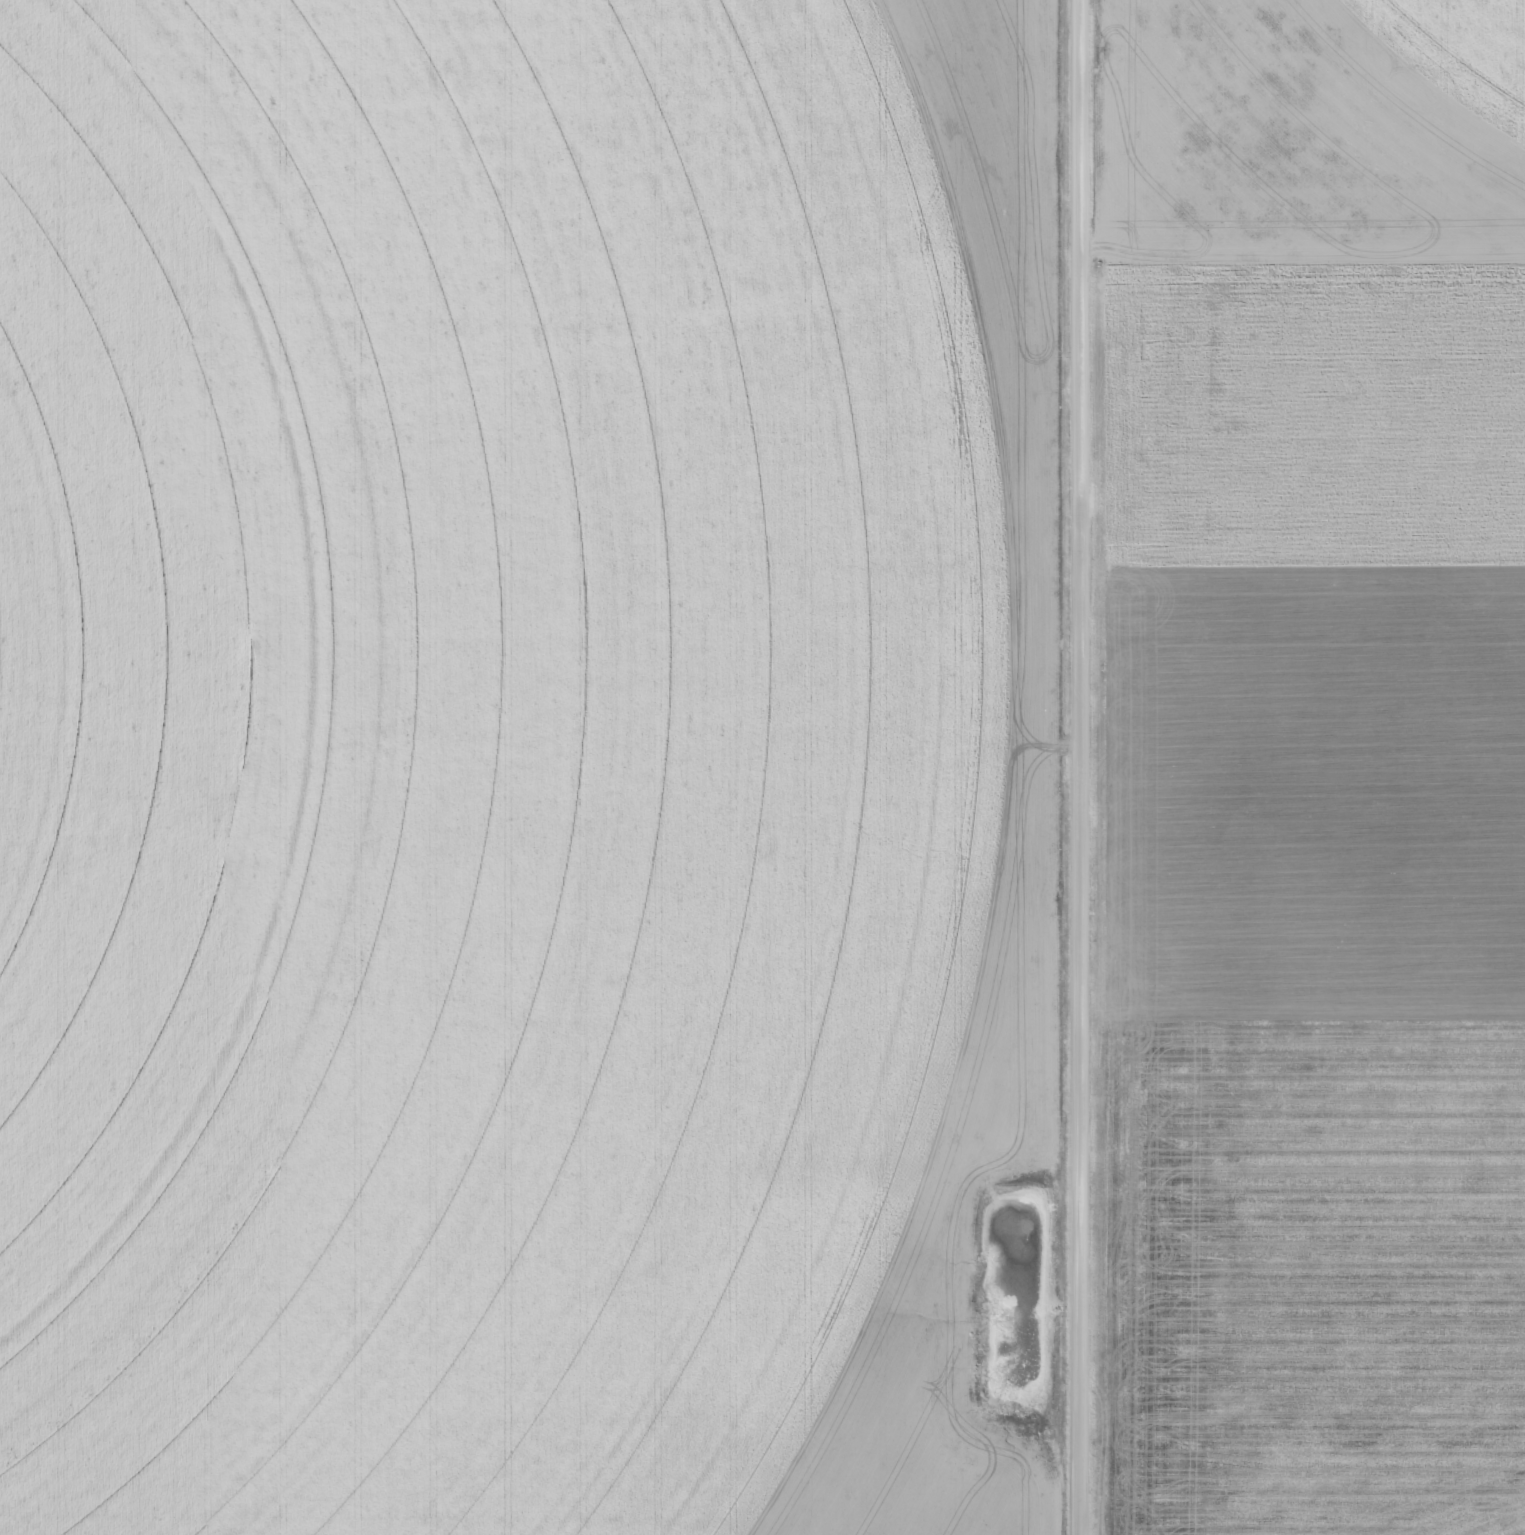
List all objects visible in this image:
road: (1080, 767)

